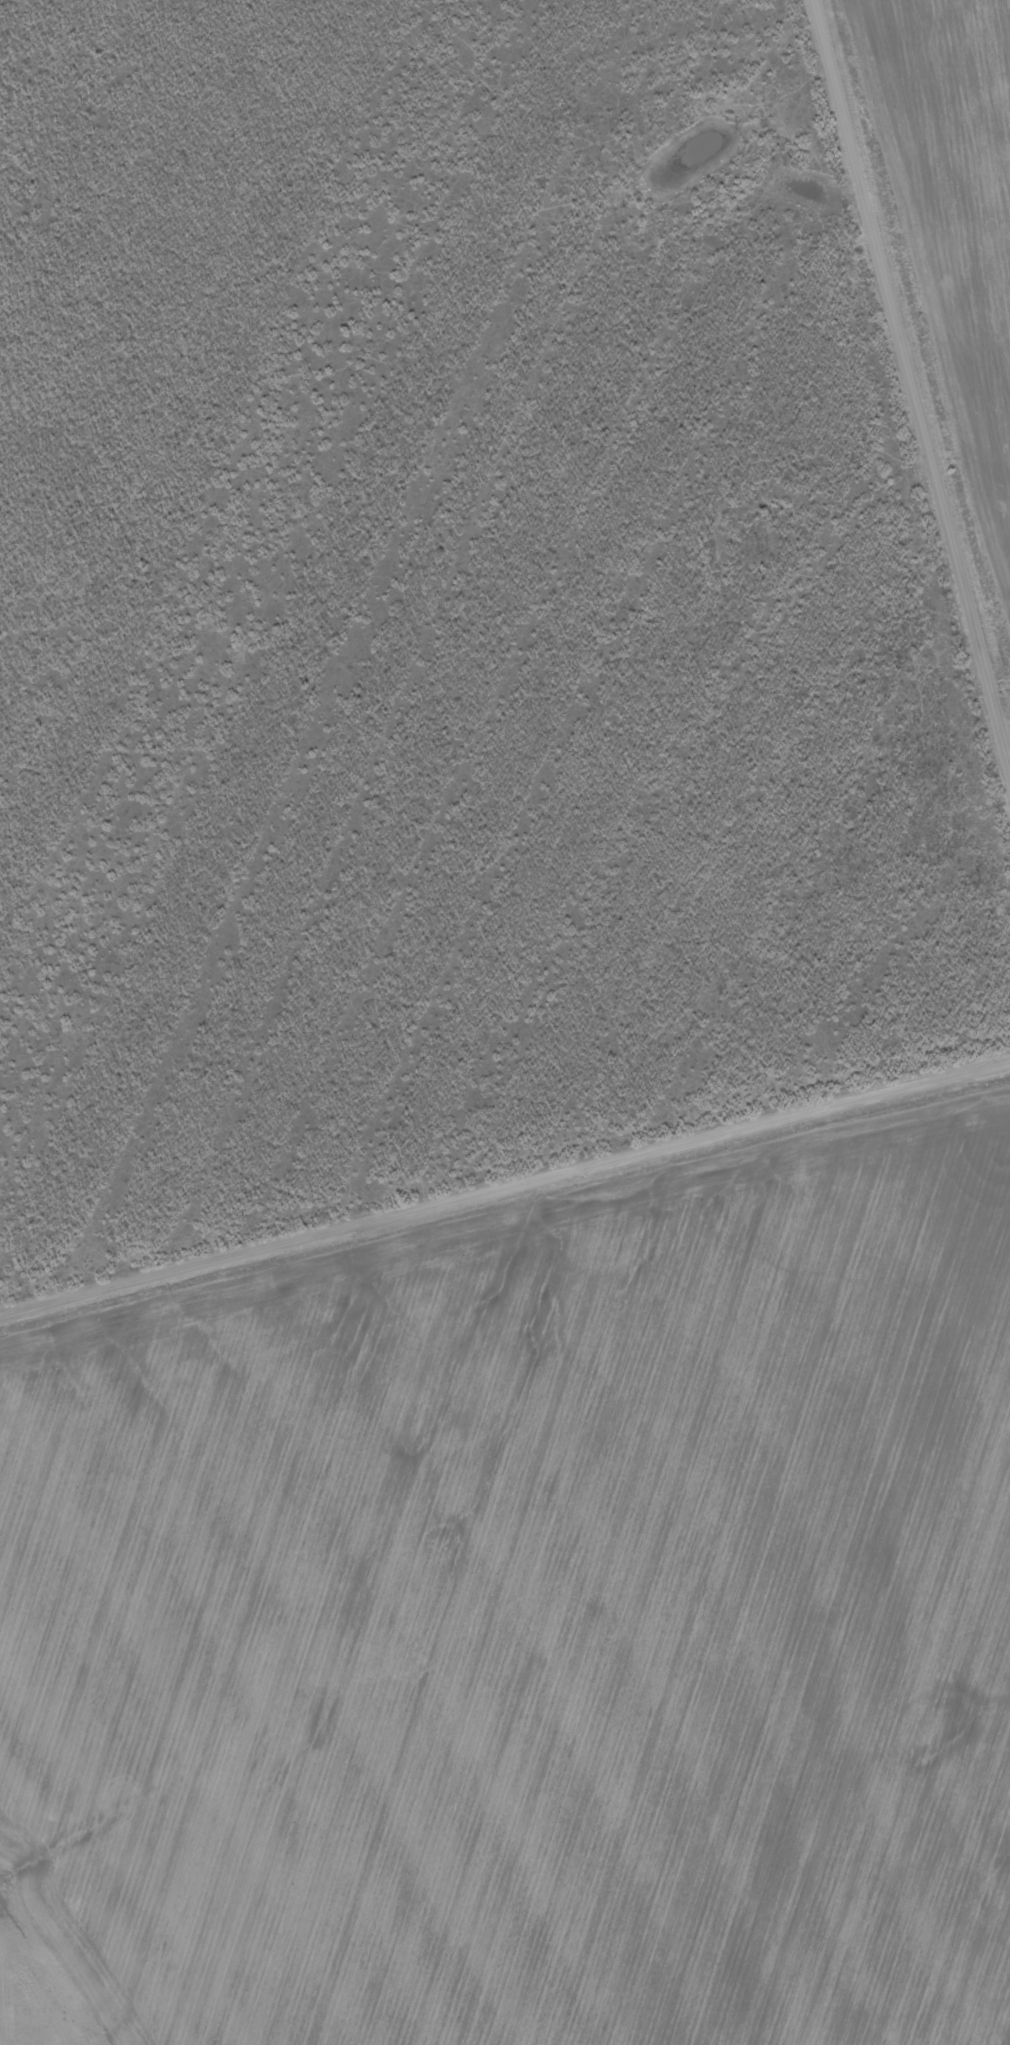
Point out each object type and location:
road: (913, 383)
road: (505, 1196)

